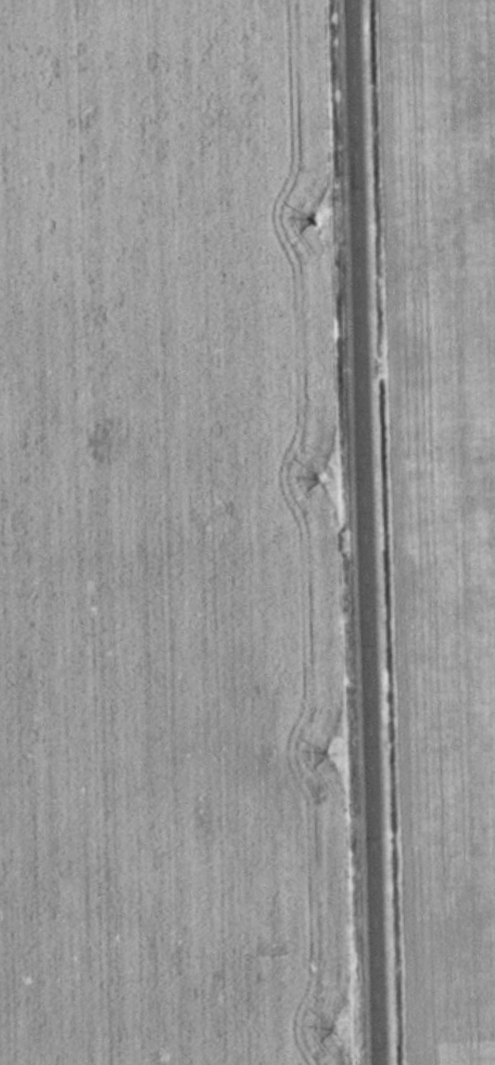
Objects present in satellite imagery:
road: (363, 531)

